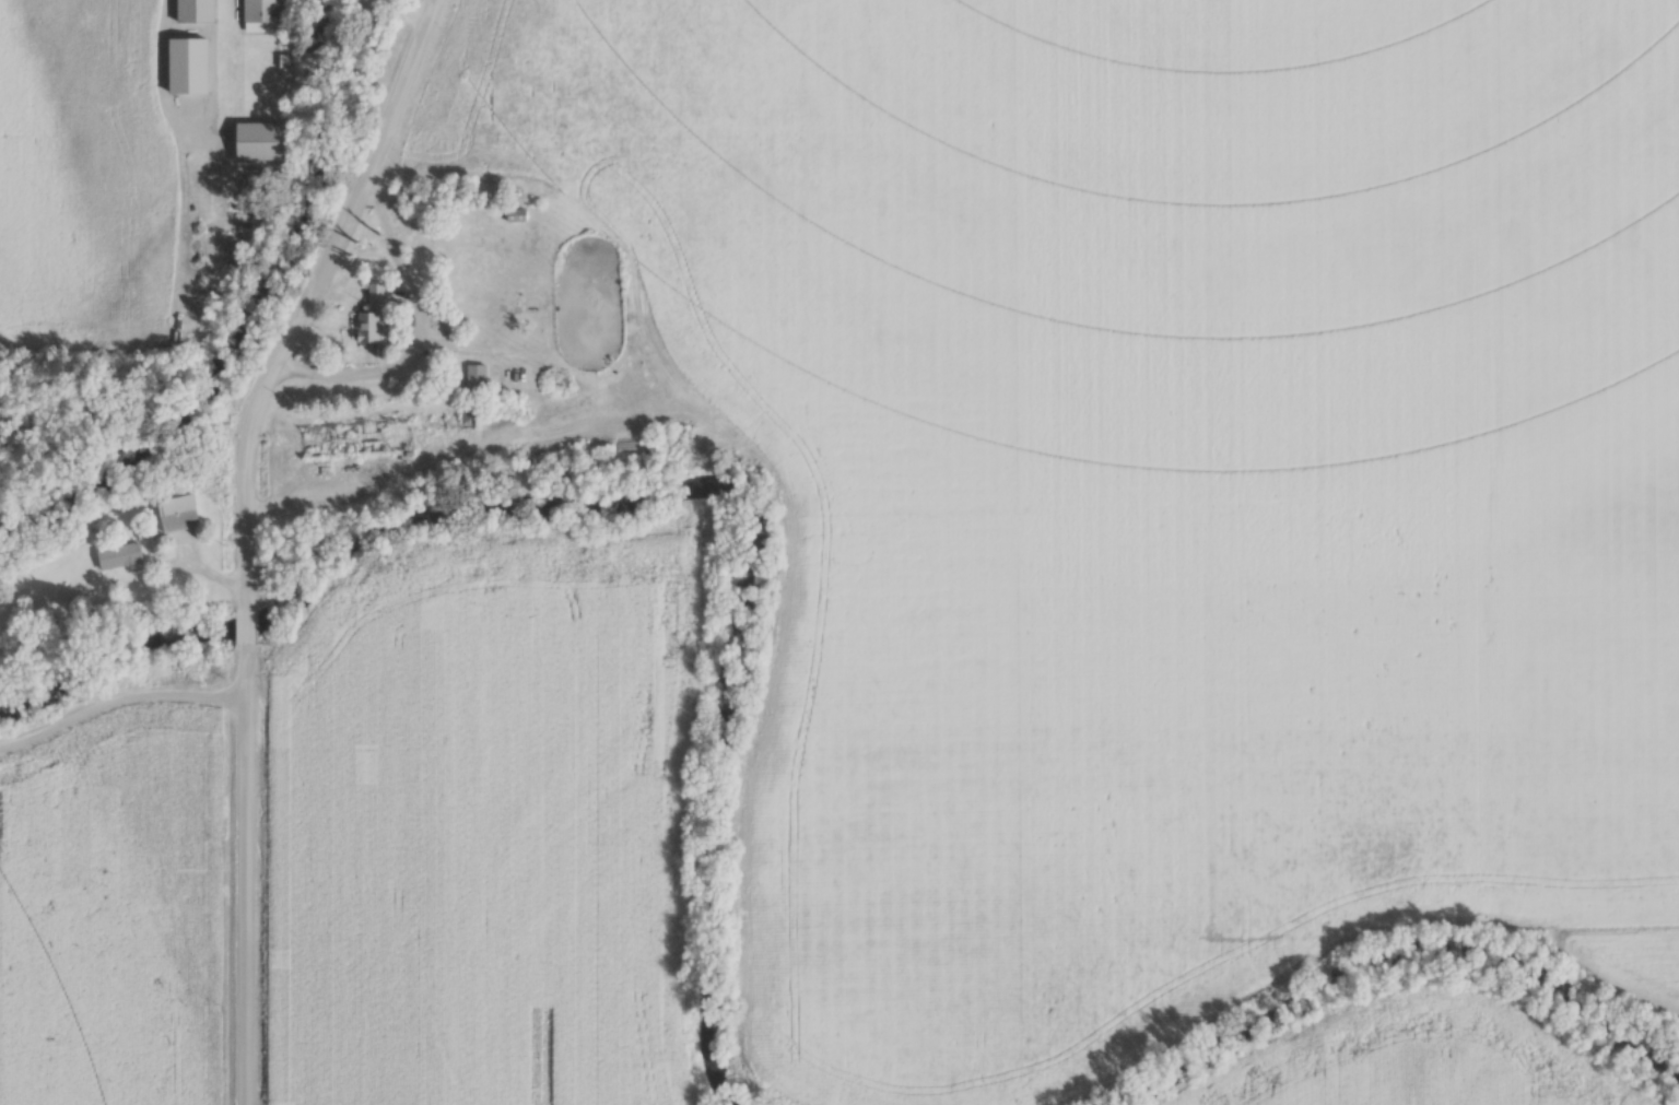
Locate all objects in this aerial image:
road: (412, 8)
building: (256, 14)
building: (513, 215)
road: (306, 296)
building: (367, 317)
road: (422, 328)
building: (473, 377)
building: (700, 418)
building: (353, 439)
building: (174, 513)
building: (115, 556)
road: (246, 623)
road: (245, 872)

